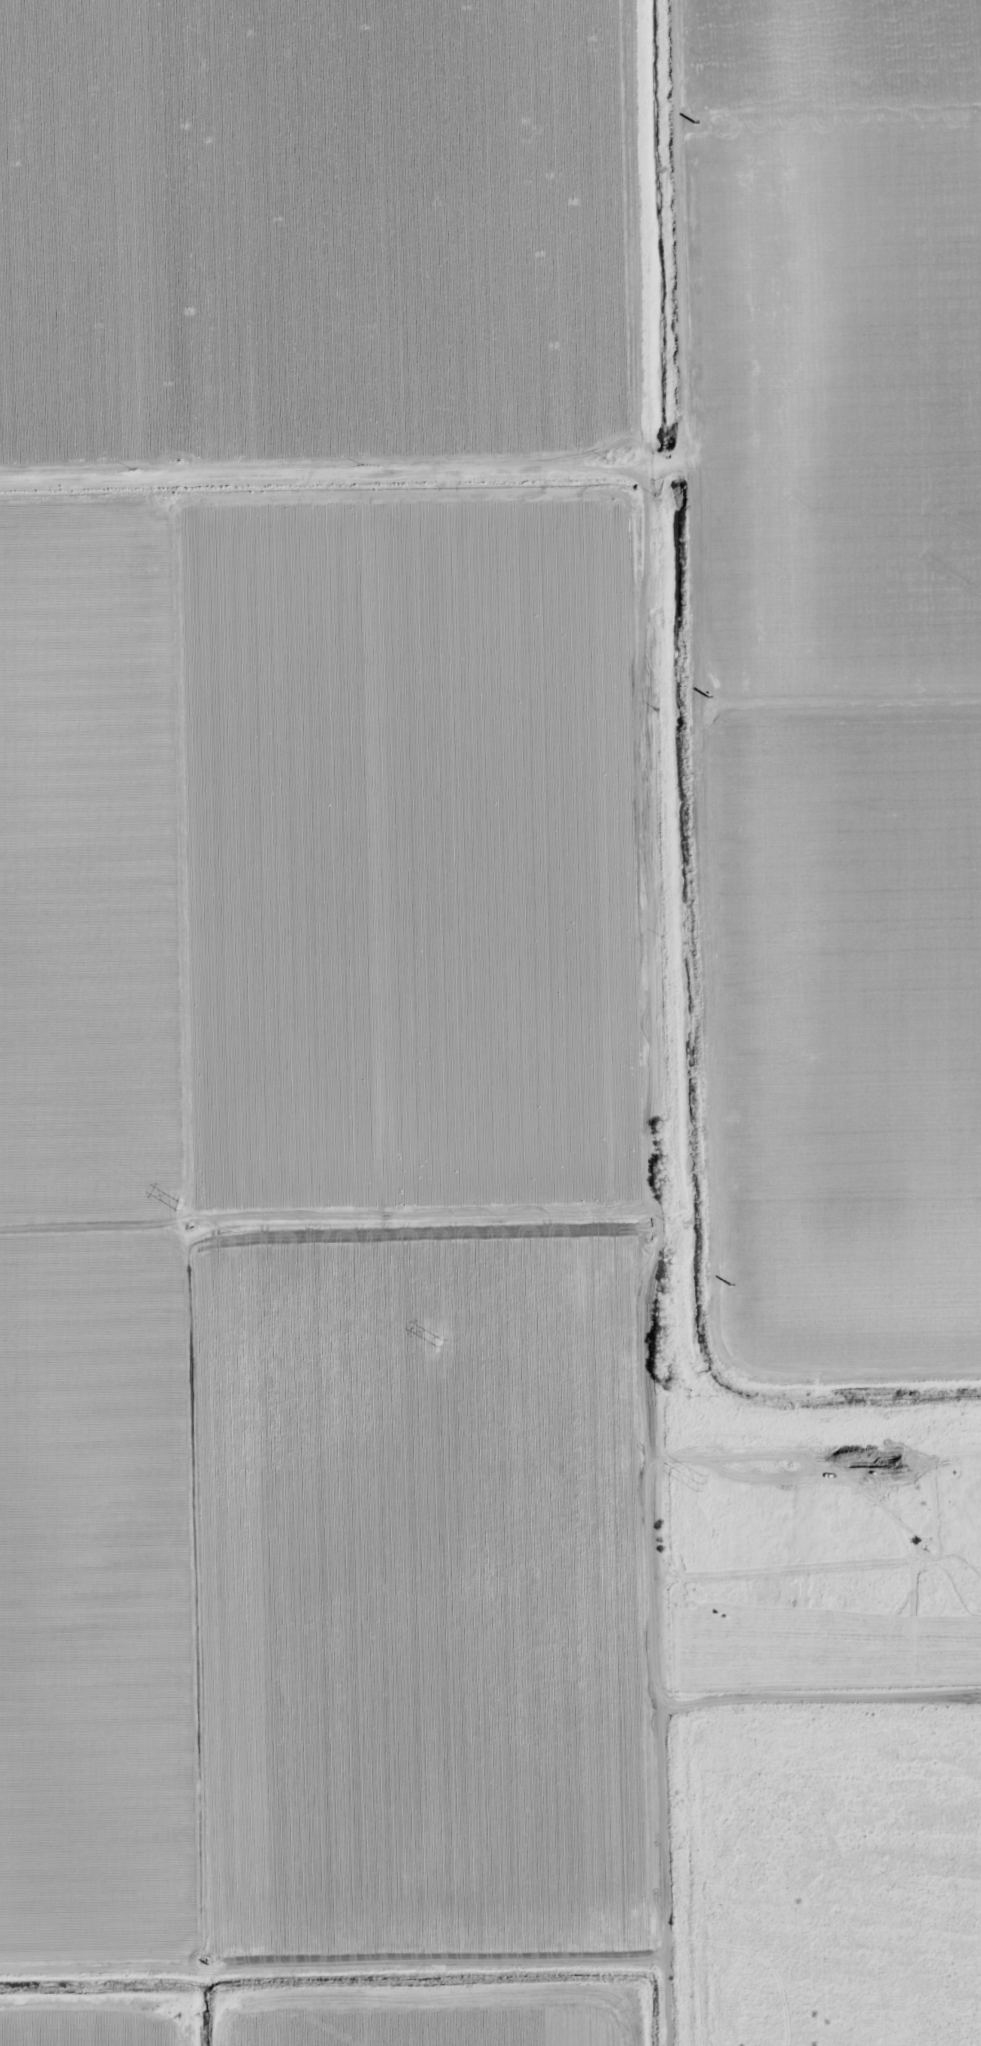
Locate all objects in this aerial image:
road: (728, 701)
road: (647, 770)
power tower: (177, 1205)
power tower: (436, 1341)
power tower: (696, 1481)
road: (877, 1694)
road: (713, 1700)
road: (659, 1874)

